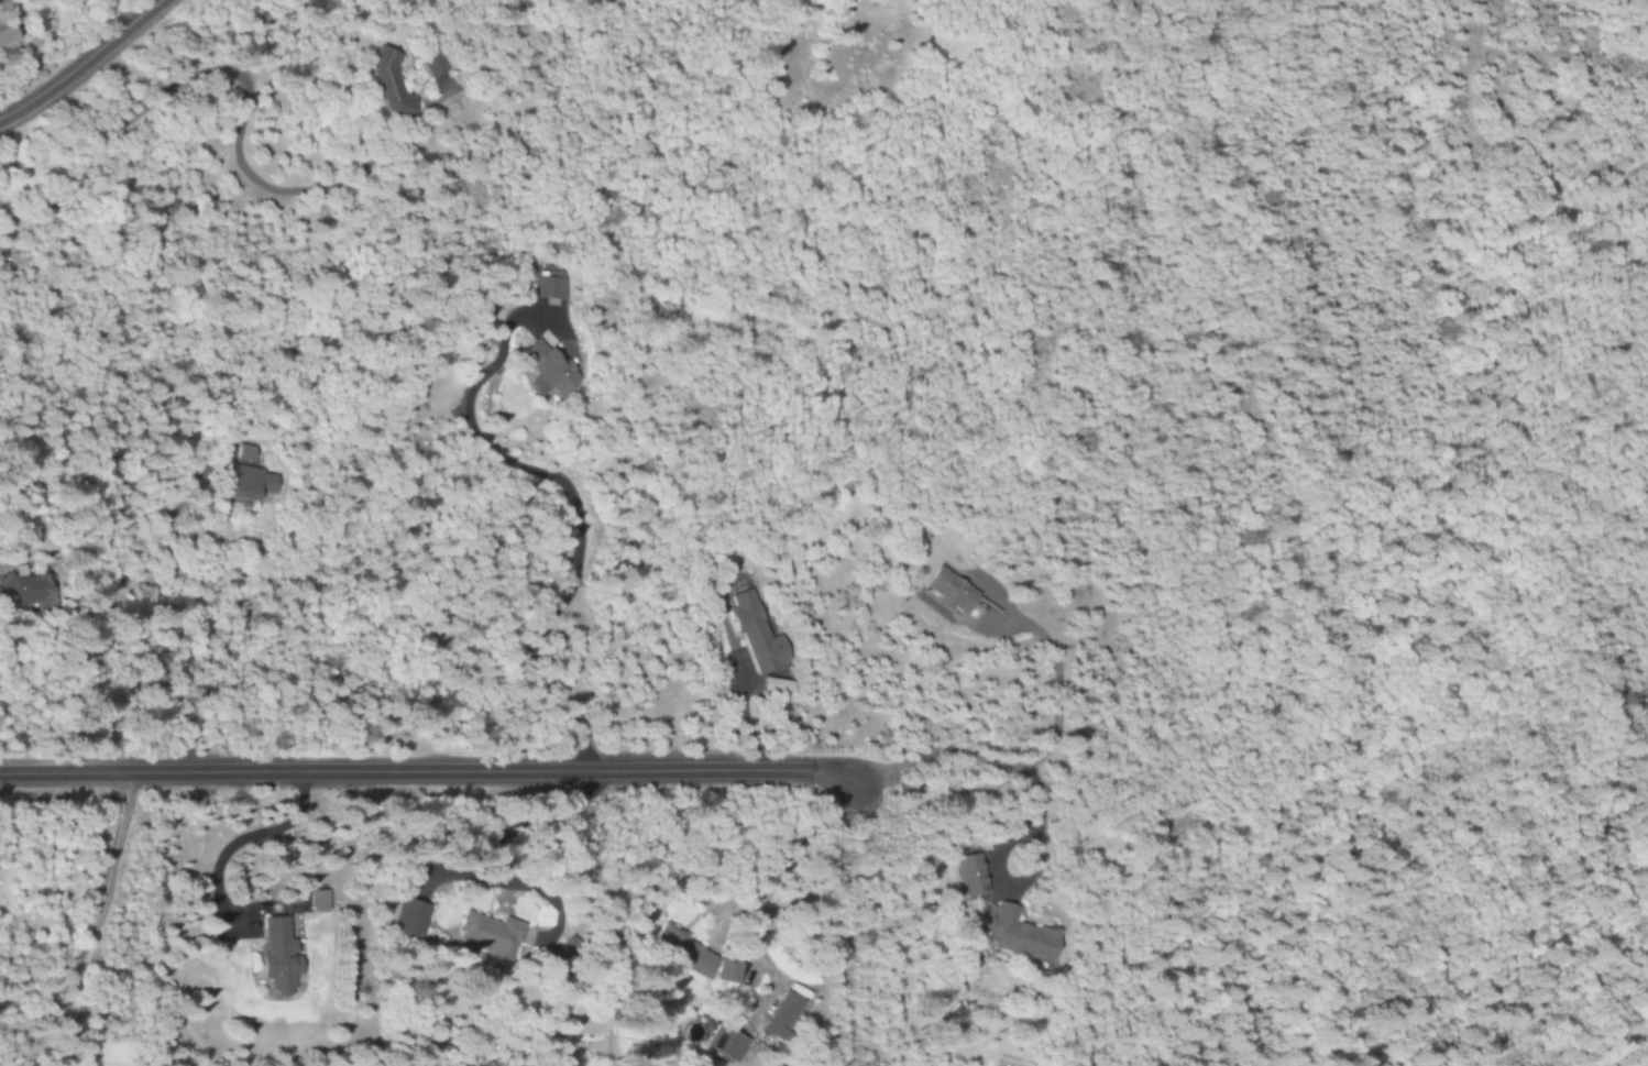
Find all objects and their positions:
building: (579, 1)
building: (3, 35)
road: (78, 61)
building: (426, 65)
building: (383, 85)
building: (547, 288)
building: (541, 371)
building: (242, 453)
building: (245, 485)
building: (21, 586)
building: (945, 592)
building: (751, 634)
road: (1029, 759)
road: (428, 772)
road: (787, 854)
building: (966, 875)
building: (316, 901)
building: (403, 917)
building: (482, 934)
building: (1015, 935)
building: (678, 952)
building: (274, 957)
building: (724, 972)
building: (774, 1020)
building: (721, 1044)

